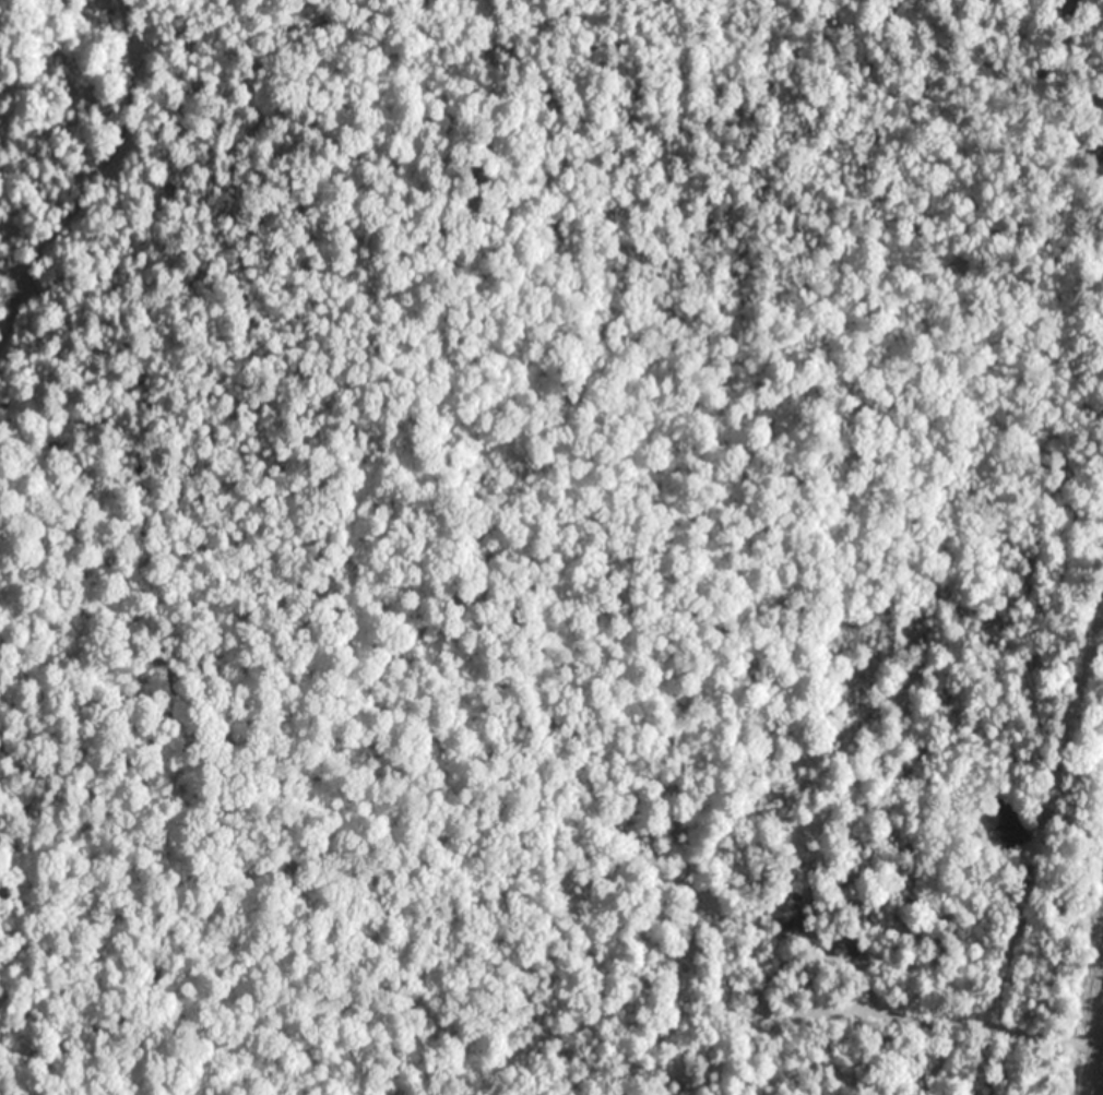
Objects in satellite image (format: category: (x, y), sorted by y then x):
building: (1101, 152)
building: (1007, 821)
building: (785, 907)
building: (845, 947)
road: (940, 1016)
road: (936, 1057)
road: (1098, 1061)

